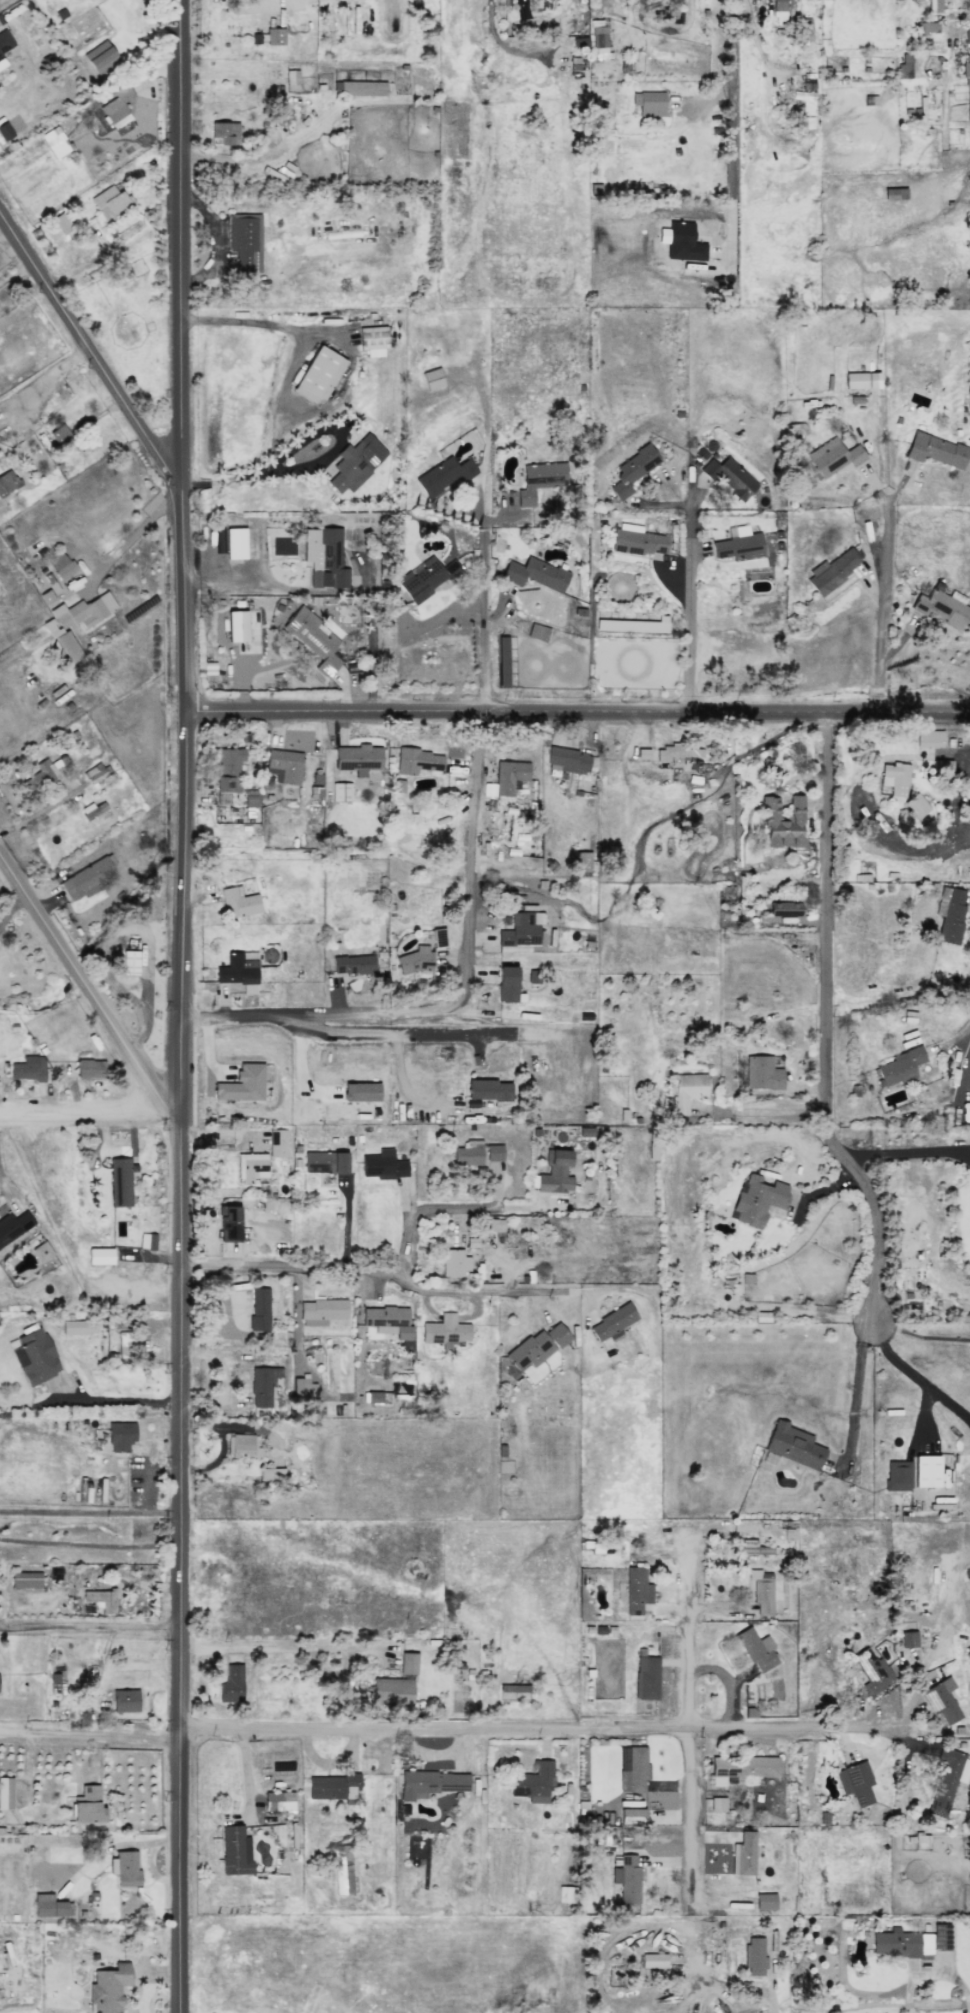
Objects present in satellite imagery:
building: (933, 6)
building: (778, 11)
building: (927, 28)
building: (805, 32)
building: (967, 33)
building: (274, 36)
building: (599, 39)
building: (4, 41)
building: (100, 57)
building: (1, 62)
building: (904, 66)
building: (966, 69)
building: (291, 77)
building: (358, 88)
building: (649, 103)
building: (117, 107)
road: (698, 116)
road: (731, 127)
building: (224, 133)
building: (55, 142)
road: (230, 159)
building: (61, 223)
building: (683, 243)
building: (245, 244)
road: (17, 273)
road: (262, 322)
building: (373, 341)
road: (90, 348)
building: (318, 375)
road: (51, 378)
building: (431, 379)
building: (861, 381)
building: (935, 450)
building: (833, 457)
building: (355, 463)
building: (632, 470)
building: (443, 475)
building: (728, 478)
building: (539, 480)
building: (7, 481)
road: (134, 534)
building: (637, 541)
building: (235, 543)
building: (737, 544)
building: (324, 557)
building: (61, 565)
building: (832, 571)
building: (534, 574)
building: (426, 578)
road: (885, 589)
road: (690, 605)
building: (940, 607)
road: (486, 615)
building: (76, 622)
building: (236, 626)
building: (537, 632)
building: (313, 639)
road: (372, 651)
road: (21, 652)
building: (501, 662)
road: (579, 714)
building: (928, 738)
building: (677, 752)
building: (358, 759)
building: (567, 760)
building: (418, 761)
building: (940, 765)
building: (284, 766)
building: (229, 769)
building: (45, 772)
building: (97, 773)
building: (509, 776)
building: (894, 778)
building: (397, 785)
building: (340, 792)
building: (249, 799)
building: (915, 805)
road: (39, 811)
building: (783, 823)
road: (469, 857)
building: (582, 861)
building: (88, 878)
building: (239, 902)
building: (784, 909)
building: (949, 914)
building: (520, 932)
building: (438, 938)
building: (415, 960)
building: (352, 964)
building: (238, 969)
building: (506, 984)
road: (85, 986)
road: (183, 1006)
road: (325, 1015)
road: (825, 1024)
road: (388, 1030)
building: (897, 1068)
building: (28, 1069)
building: (90, 1069)
building: (761, 1073)
building: (242, 1084)
building: (488, 1090)
building: (686, 1091)
building: (360, 1092)
road: (80, 1111)
building: (277, 1143)
building: (493, 1152)
road: (905, 1152)
building: (468, 1154)
building: (325, 1162)
building: (383, 1165)
building: (251, 1167)
building: (555, 1173)
building: (119, 1182)
building: (757, 1199)
road: (451, 1206)
building: (228, 1223)
building: (494, 1225)
building: (13, 1226)
building: (147, 1241)
building: (41, 1252)
building: (99, 1256)
building: (453, 1262)
road: (292, 1271)
road: (486, 1295)
building: (259, 1311)
building: (321, 1311)
building: (387, 1321)
building: (611, 1324)
building: (79, 1327)
building: (444, 1330)
building: (122, 1343)
building: (536, 1347)
building: (33, 1356)
road: (913, 1375)
building: (262, 1385)
building: (302, 1387)
road: (854, 1391)
road: (113, 1401)
building: (120, 1436)
building: (792, 1445)
building: (242, 1446)
building: (926, 1471)
building: (271, 1474)
building: (897, 1475)
road: (91, 1512)
road: (91, 1544)
building: (754, 1548)
building: (25, 1580)
building: (636, 1590)
building: (761, 1591)
building: (100, 1600)
road: (91, 1628)
building: (908, 1637)
road: (282, 1644)
building: (756, 1650)
building: (407, 1664)
building: (872, 1671)
building: (646, 1678)
building: (231, 1684)
building: (513, 1688)
building: (392, 1692)
building: (124, 1700)
building: (941, 1702)
road: (692, 1726)
road: (542, 1733)
road: (91, 1736)
building: (632, 1768)
building: (742, 1768)
building: (947, 1781)
building: (533, 1782)
building: (855, 1783)
building: (430, 1784)
building: (333, 1787)
building: (5, 1793)
building: (278, 1801)
building: (717, 1804)
building: (631, 1816)
building: (234, 1851)
building: (743, 1854)
building: (124, 1868)
building: (342, 1870)
building: (626, 1878)
building: (764, 1901)
building: (49, 1906)
building: (754, 1956)
building: (653, 1961)
road: (766, 1979)
building: (109, 1988)

